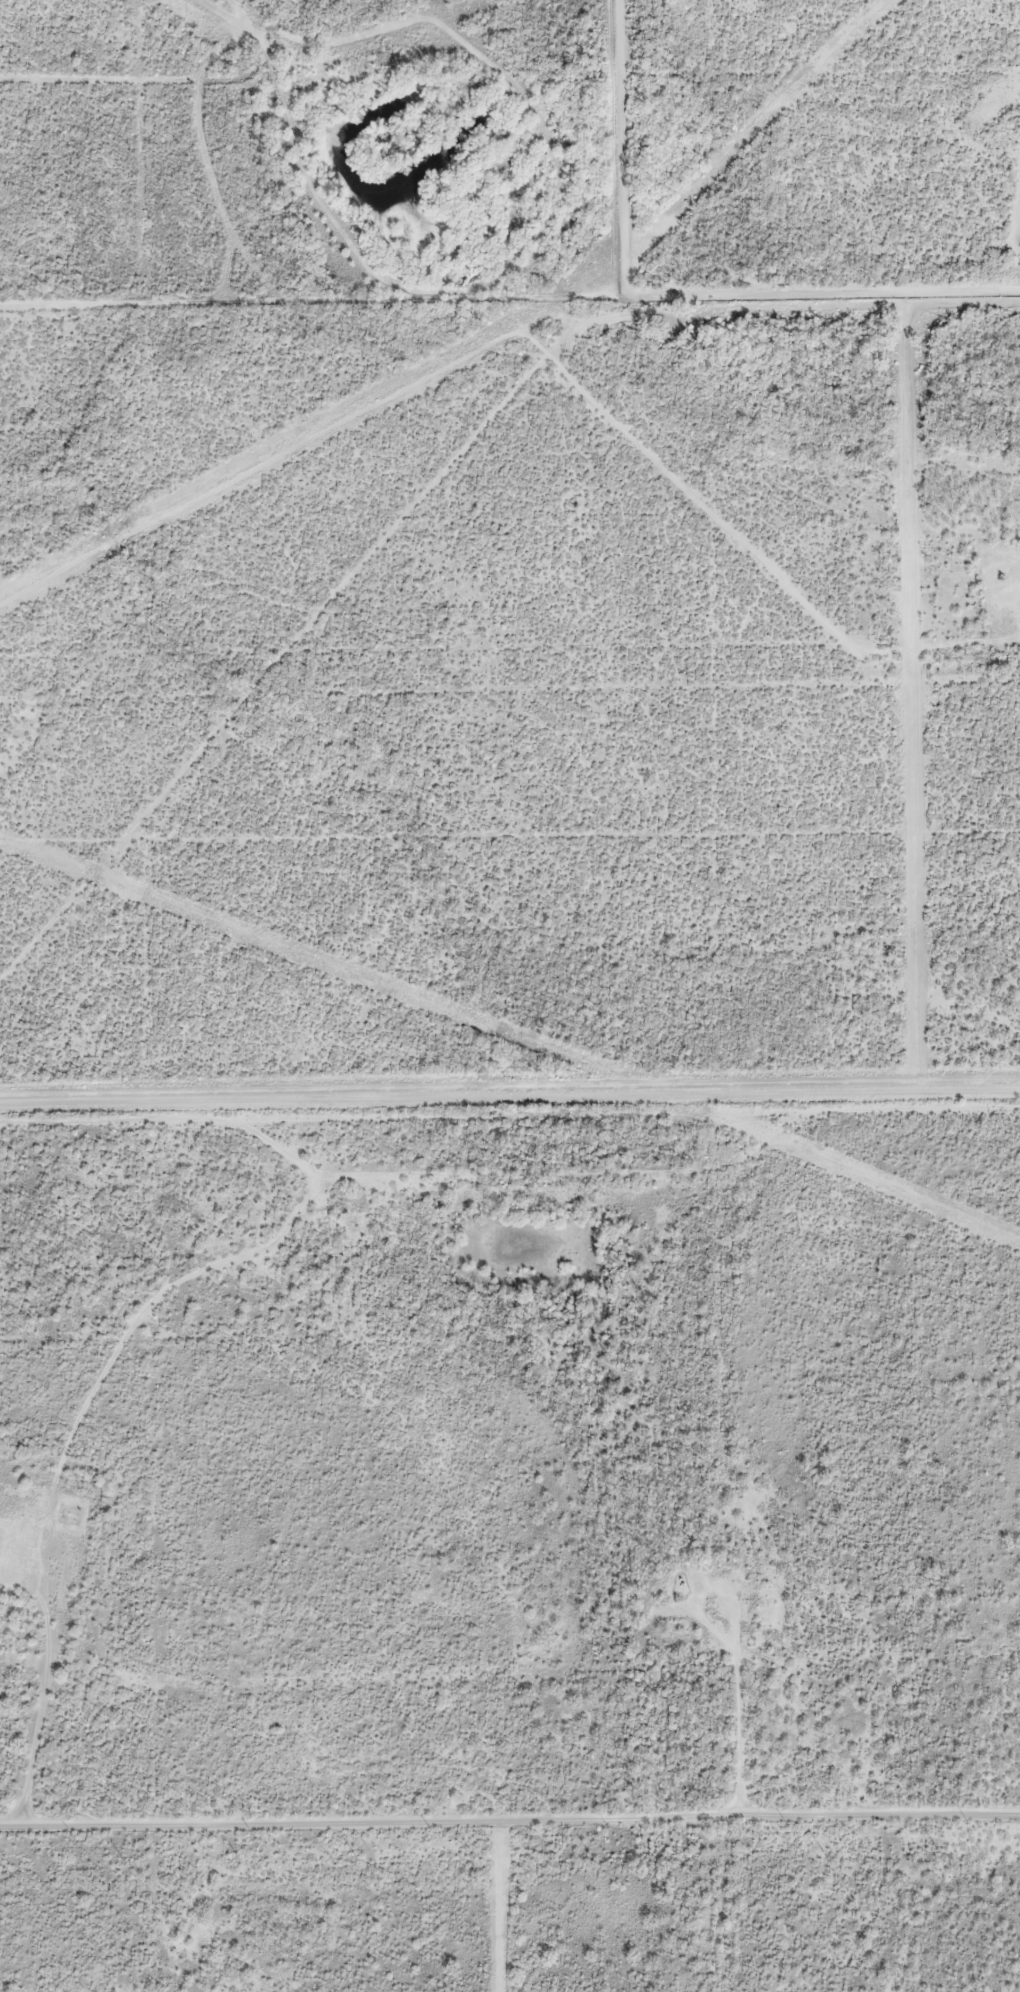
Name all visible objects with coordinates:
road: (266, 29)
road: (509, 1090)
road: (510, 1826)

